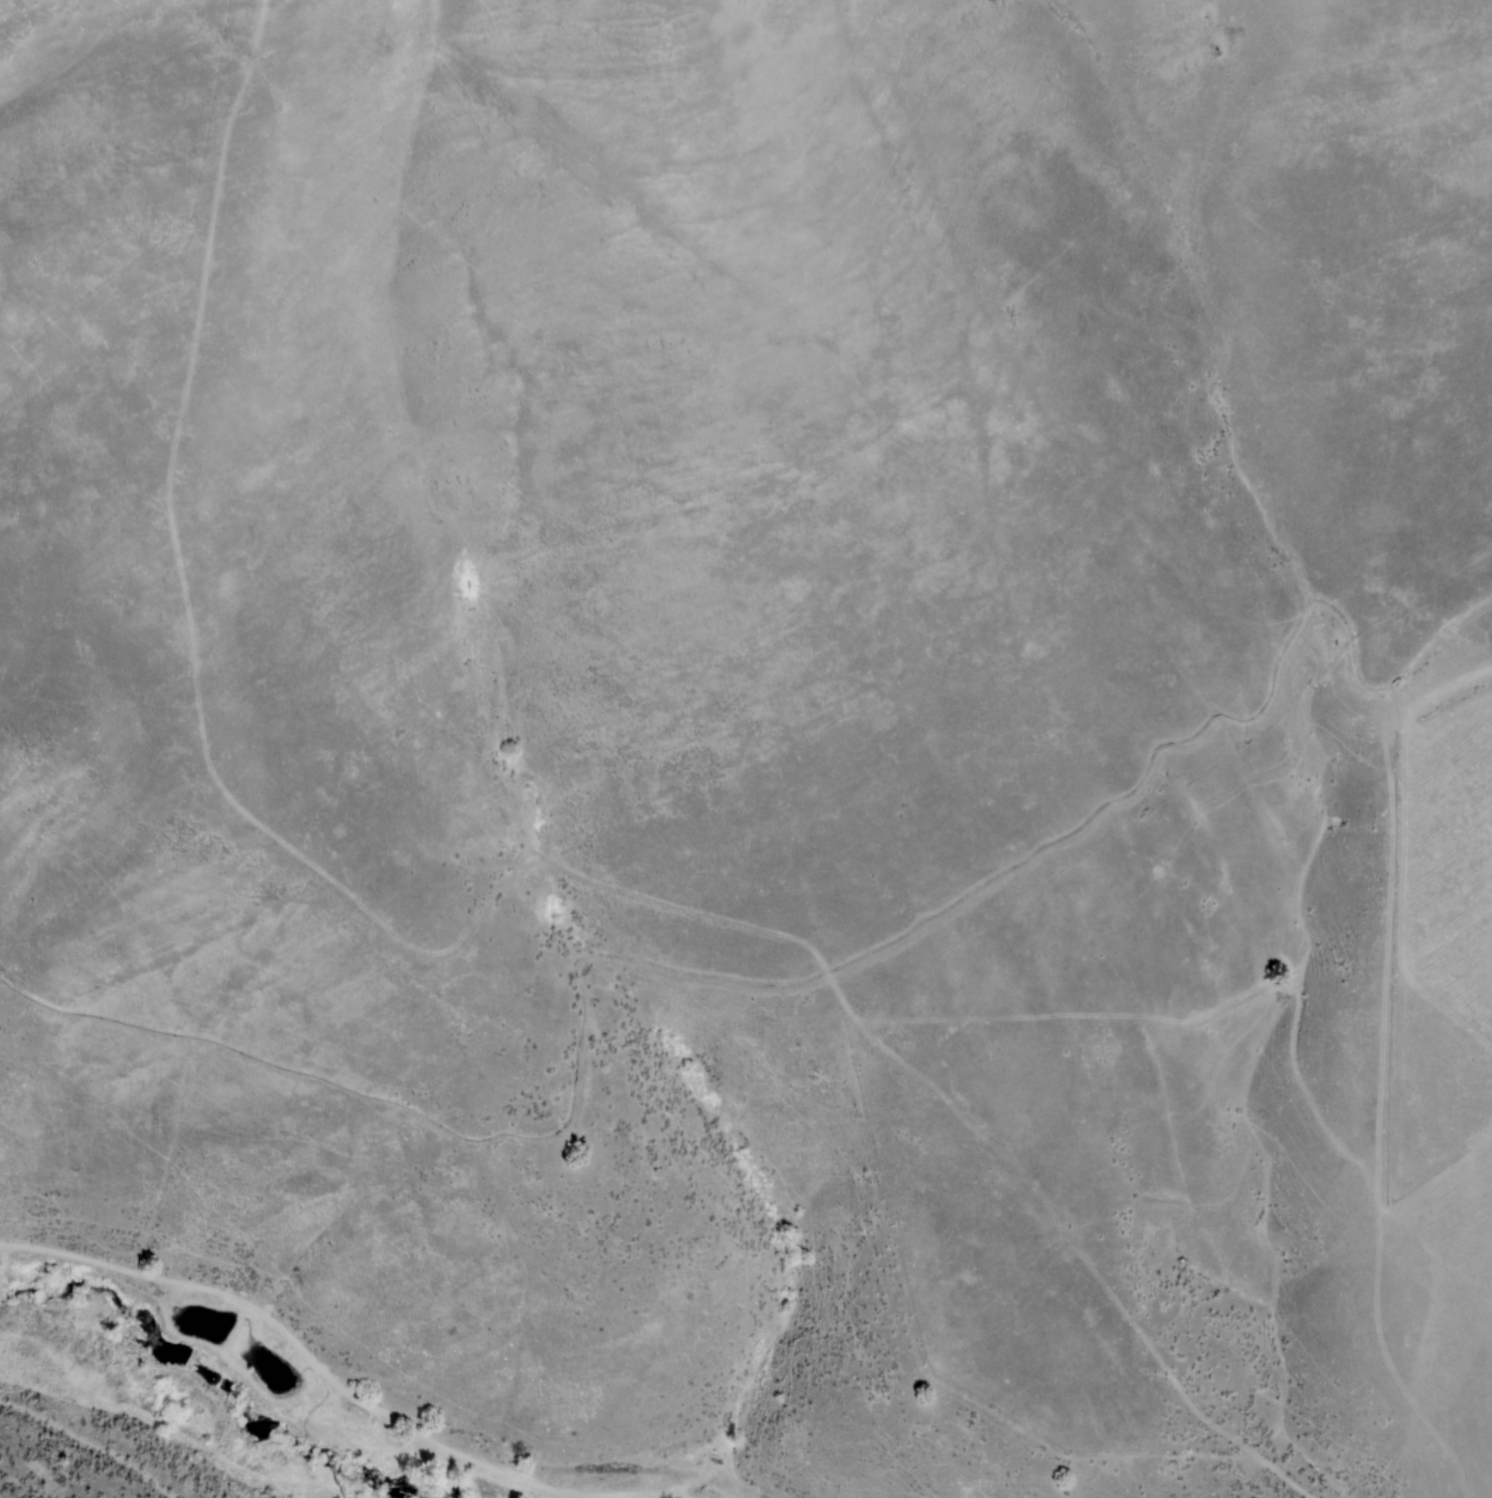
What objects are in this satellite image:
road: (331, 1379)

